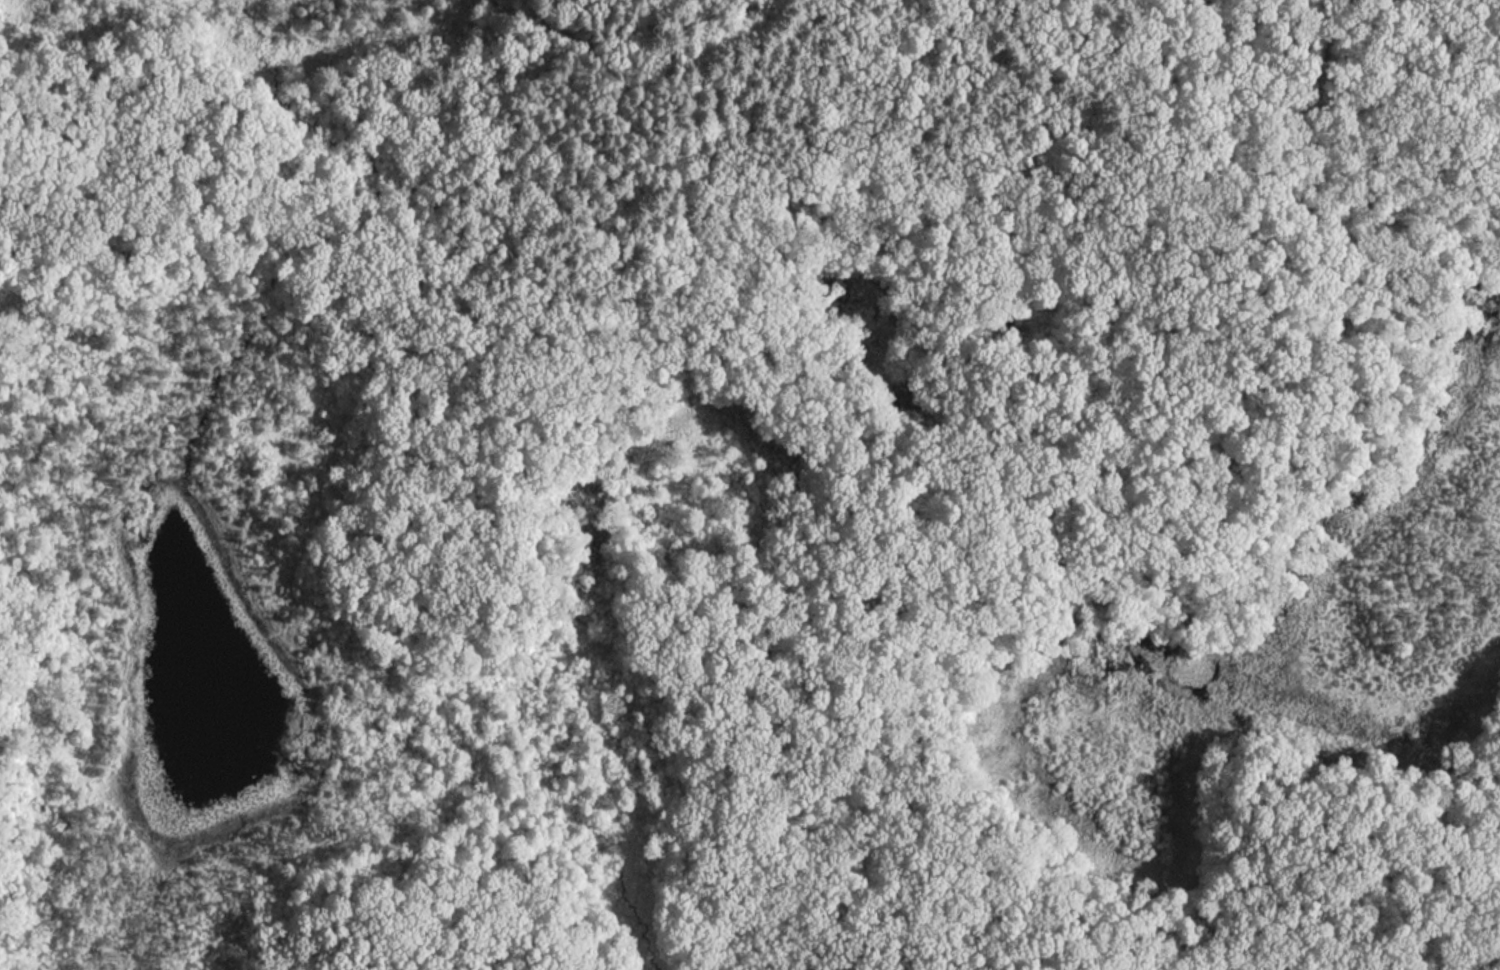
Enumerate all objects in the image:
road: (454, 98)
road: (161, 157)
road: (328, 224)
road: (1046, 430)
park: (750, 485)
road: (1290, 899)

